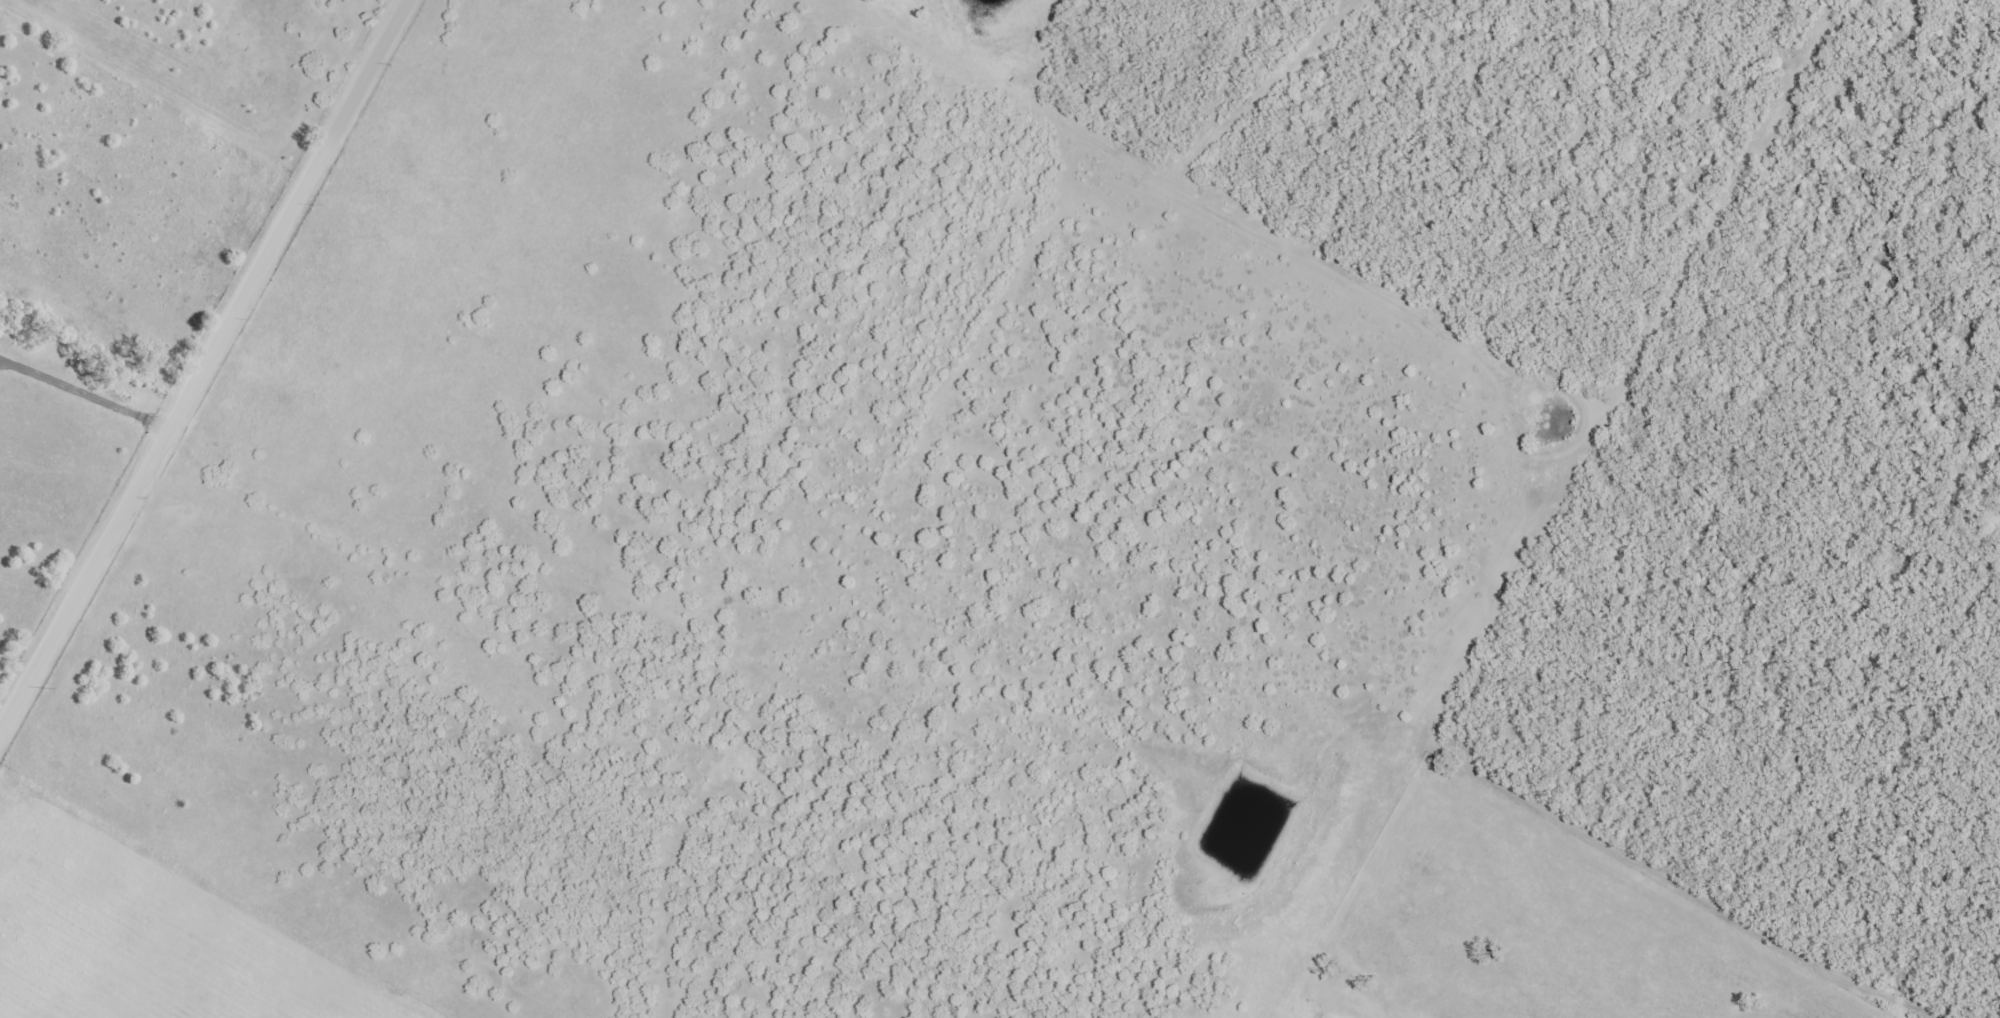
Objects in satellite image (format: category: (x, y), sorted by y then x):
road: (205, 366)

